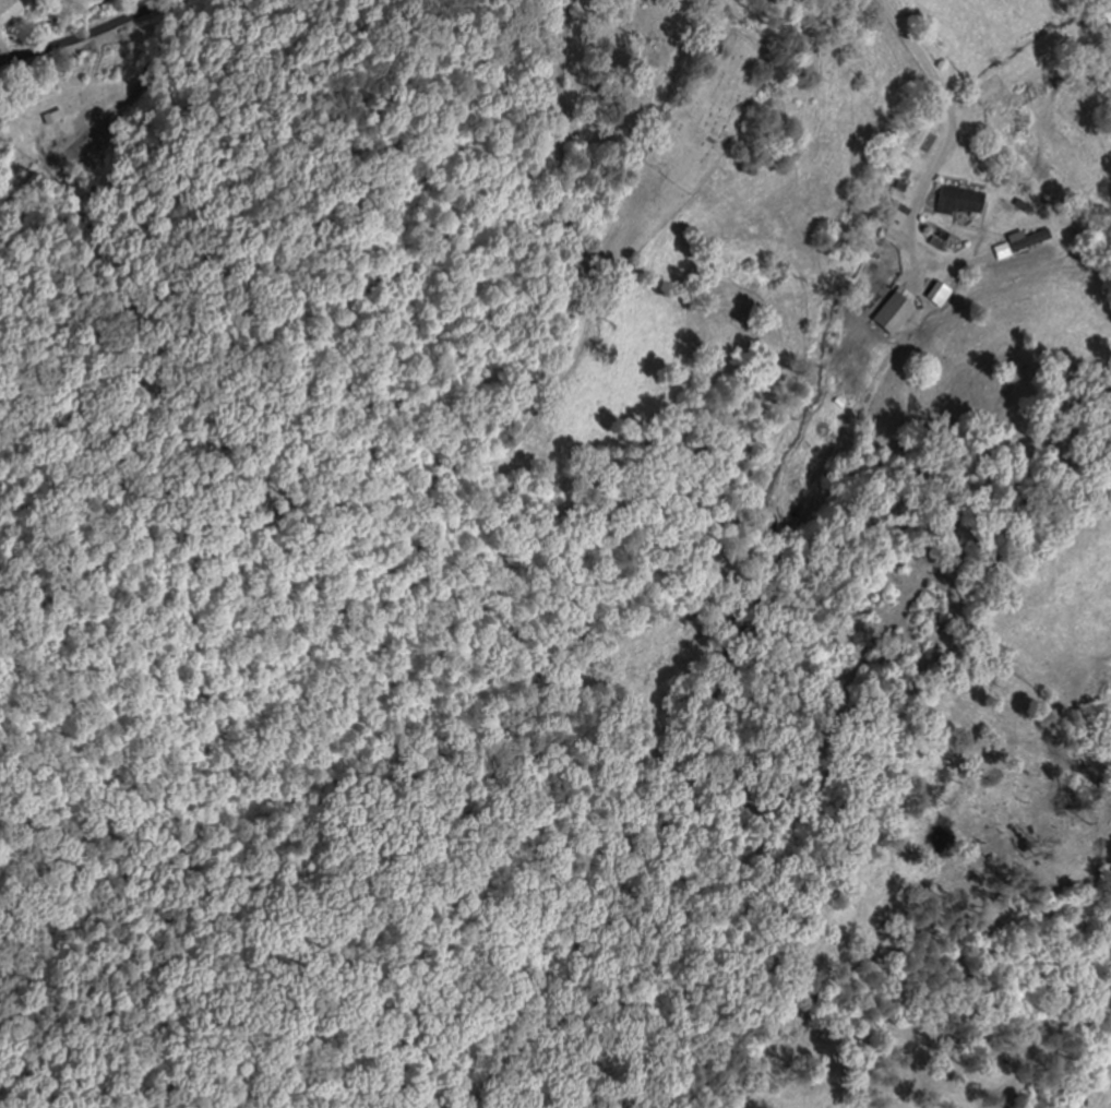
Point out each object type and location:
road: (85, 35)
park: (707, 112)
building: (963, 202)
building: (941, 295)
building: (897, 314)

